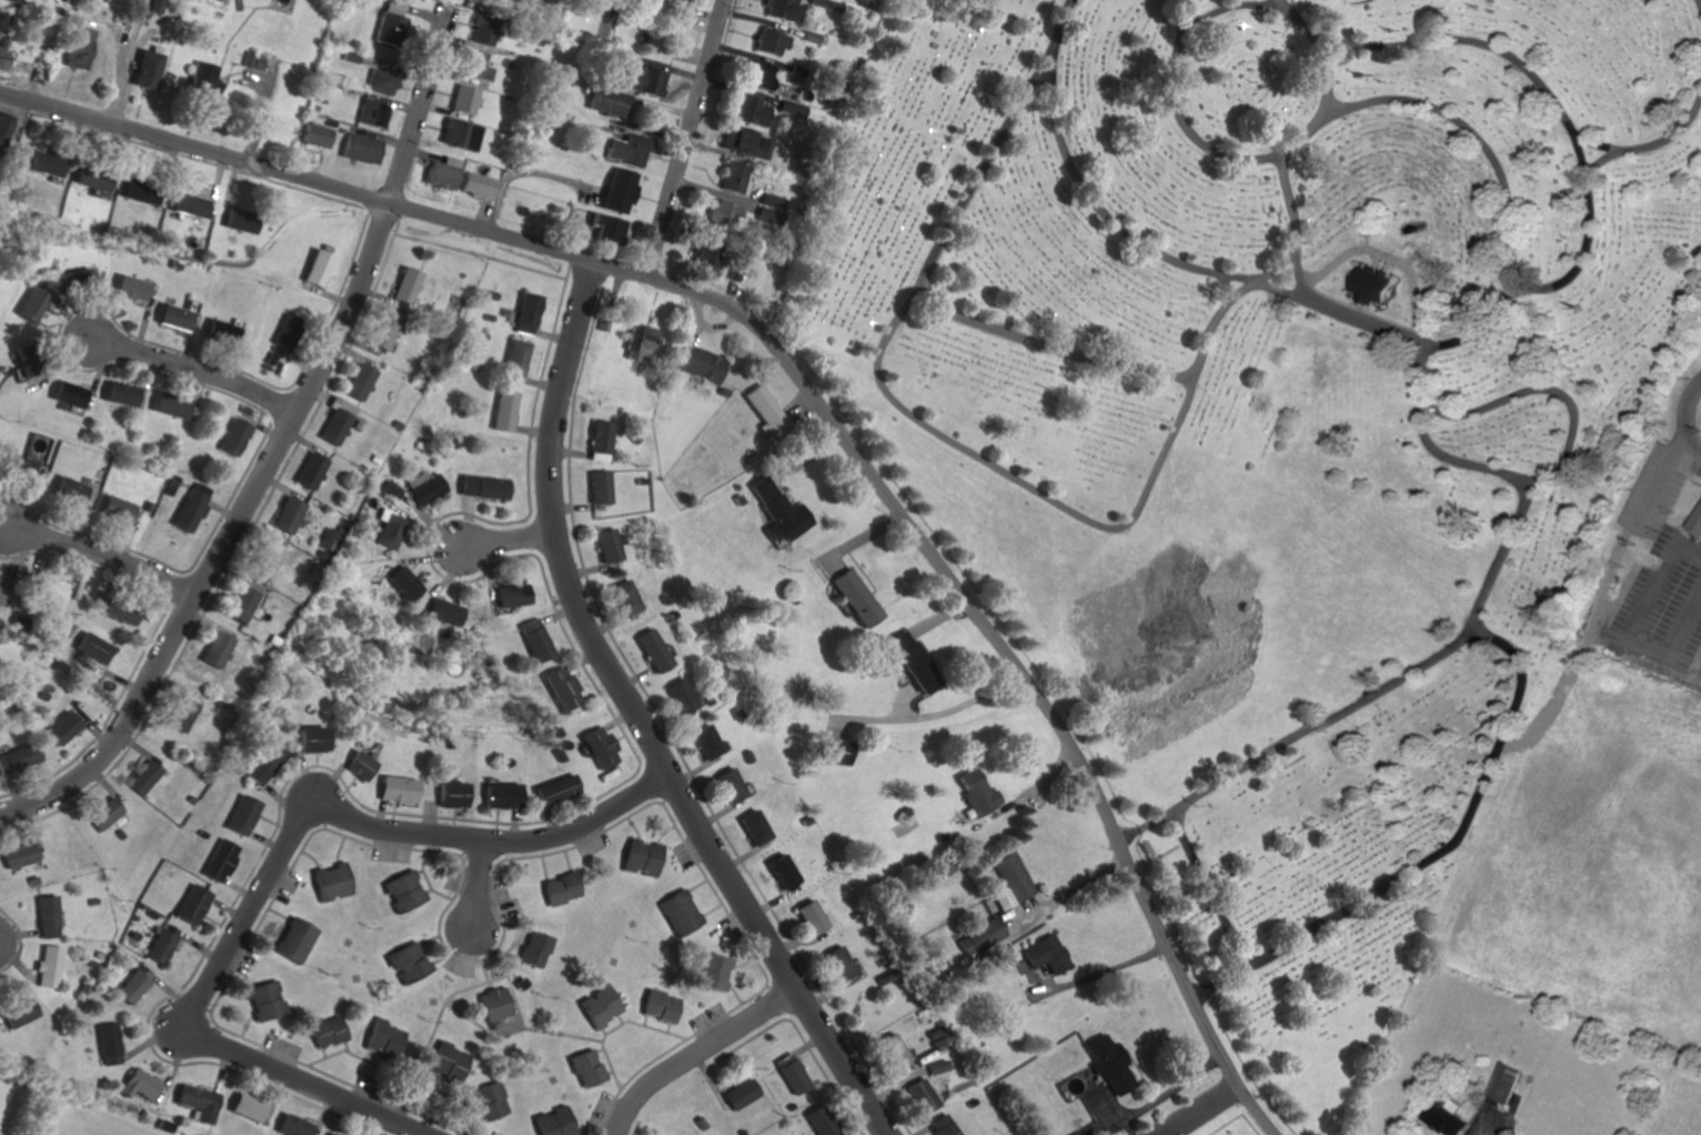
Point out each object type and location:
building: (100, 0)
building: (816, 2)
road: (1699, 3)
building: (778, 9)
road: (1224, 9)
building: (682, 10)
building: (390, 22)
building: (479, 36)
building: (814, 38)
building: (769, 41)
road: (1478, 44)
building: (76, 48)
road: (123, 60)
building: (256, 62)
building: (475, 64)
building: (143, 69)
road: (1327, 74)
building: (757, 76)
building: (201, 80)
building: (646, 81)
building: (380, 82)
building: (464, 99)
building: (606, 101)
road: (421, 106)
road: (1349, 107)
building: (793, 108)
building: (751, 110)
building: (372, 113)
building: (460, 133)
building: (313, 135)
road: (686, 137)
building: (736, 139)
road: (1593, 143)
building: (360, 148)
building: (627, 149)
building: (41, 163)
building: (444, 174)
building: (733, 177)
building: (89, 178)
road: (323, 182)
building: (479, 184)
building: (618, 190)
building: (137, 193)
building: (187, 204)
building: (723, 212)
road: (1292, 219)
building: (238, 223)
building: (606, 228)
building: (705, 259)
road: (1282, 267)
building: (316, 268)
building: (79, 275)
road: (1220, 283)
building: (1368, 284)
building: (407, 285)
building: (127, 288)
building: (526, 313)
building: (170, 318)
road: (1215, 325)
building: (384, 331)
building: (219, 332)
building: (636, 343)
building: (516, 356)
building: (701, 364)
road: (194, 369)
building: (360, 382)
road: (1539, 391)
building: (67, 394)
building: (119, 394)
building: (169, 405)
building: (764, 410)
building: (504, 411)
road: (1687, 411)
building: (338, 422)
building: (233, 436)
building: (600, 436)
building: (726, 440)
road: (1433, 448)
building: (17, 468)
park: (1301, 468)
building: (310, 471)
road: (1660, 476)
building: (483, 486)
building: (425, 488)
building: (597, 488)
building: (391, 490)
building: (68, 491)
building: (190, 508)
building: (115, 509)
building: (777, 511)
building: (284, 515)
building: (1697, 522)
building: (387, 529)
road: (229, 533)
building: (324, 539)
road: (511, 540)
building: (603, 545)
road: (107, 553)
building: (264, 561)
building: (400, 583)
building: (46, 589)
building: (509, 595)
building: (620, 597)
building: (854, 597)
building: (241, 601)
building: (119, 611)
building: (439, 612)
road: (1633, 630)
building: (532, 640)
building: (91, 647)
building: (213, 650)
building: (648, 651)
road: (1013, 661)
building: (912, 662)
building: (557, 687)
building: (675, 696)
building: (178, 715)
road: (634, 720)
building: (60, 727)
building: (305, 740)
building: (704, 742)
building: (594, 749)
building: (835, 752)
building: (16, 759)
building: (255, 764)
building: (353, 765)
building: (138, 777)
building: (729, 785)
building: (393, 790)
building: (553, 791)
building: (974, 793)
building: (447, 794)
building: (497, 795)
building: (100, 814)
building: (238, 815)
road: (1166, 816)
building: (756, 827)
building: (13, 855)
building: (642, 857)
building: (217, 861)
road: (275, 871)
building: (784, 872)
building: (331, 882)
building: (1008, 882)
road: (481, 886)
building: (562, 890)
road: (1078, 890)
building: (404, 892)
road: (1214, 894)
building: (189, 905)
building: (682, 913)
building: (41, 917)
building: (813, 917)
building: (980, 938)
building: (293, 941)
building: (161, 946)
building: (536, 950)
building: (1044, 955)
building: (409, 963)
building: (841, 964)
building: (44, 967)
road: (1241, 971)
road: (1105, 972)
building: (713, 973)
building: (130, 987)
building: (263, 1001)
building: (495, 1005)
building: (598, 1006)
building: (660, 1006)
building: (14, 1014)
building: (324, 1032)
building: (384, 1038)
building: (107, 1044)
building: (895, 1048)
road: (701, 1056)
building: (446, 1063)
building: (1106, 1063)
building: (940, 1066)
building: (585, 1069)
building: (795, 1075)
building: (1502, 1083)
building: (137, 1084)
building: (741, 1094)
building: (923, 1095)
building: (490, 1099)
building: (195, 1101)
building: (243, 1107)
road: (1200, 1109)
building: (1441, 1118)
building: (819, 1121)
building: (551, 1122)
building: (290, 1125)
building: (943, 1125)
road: (1486, 1131)
building: (328, 1134)
building: (1073, 1134)

